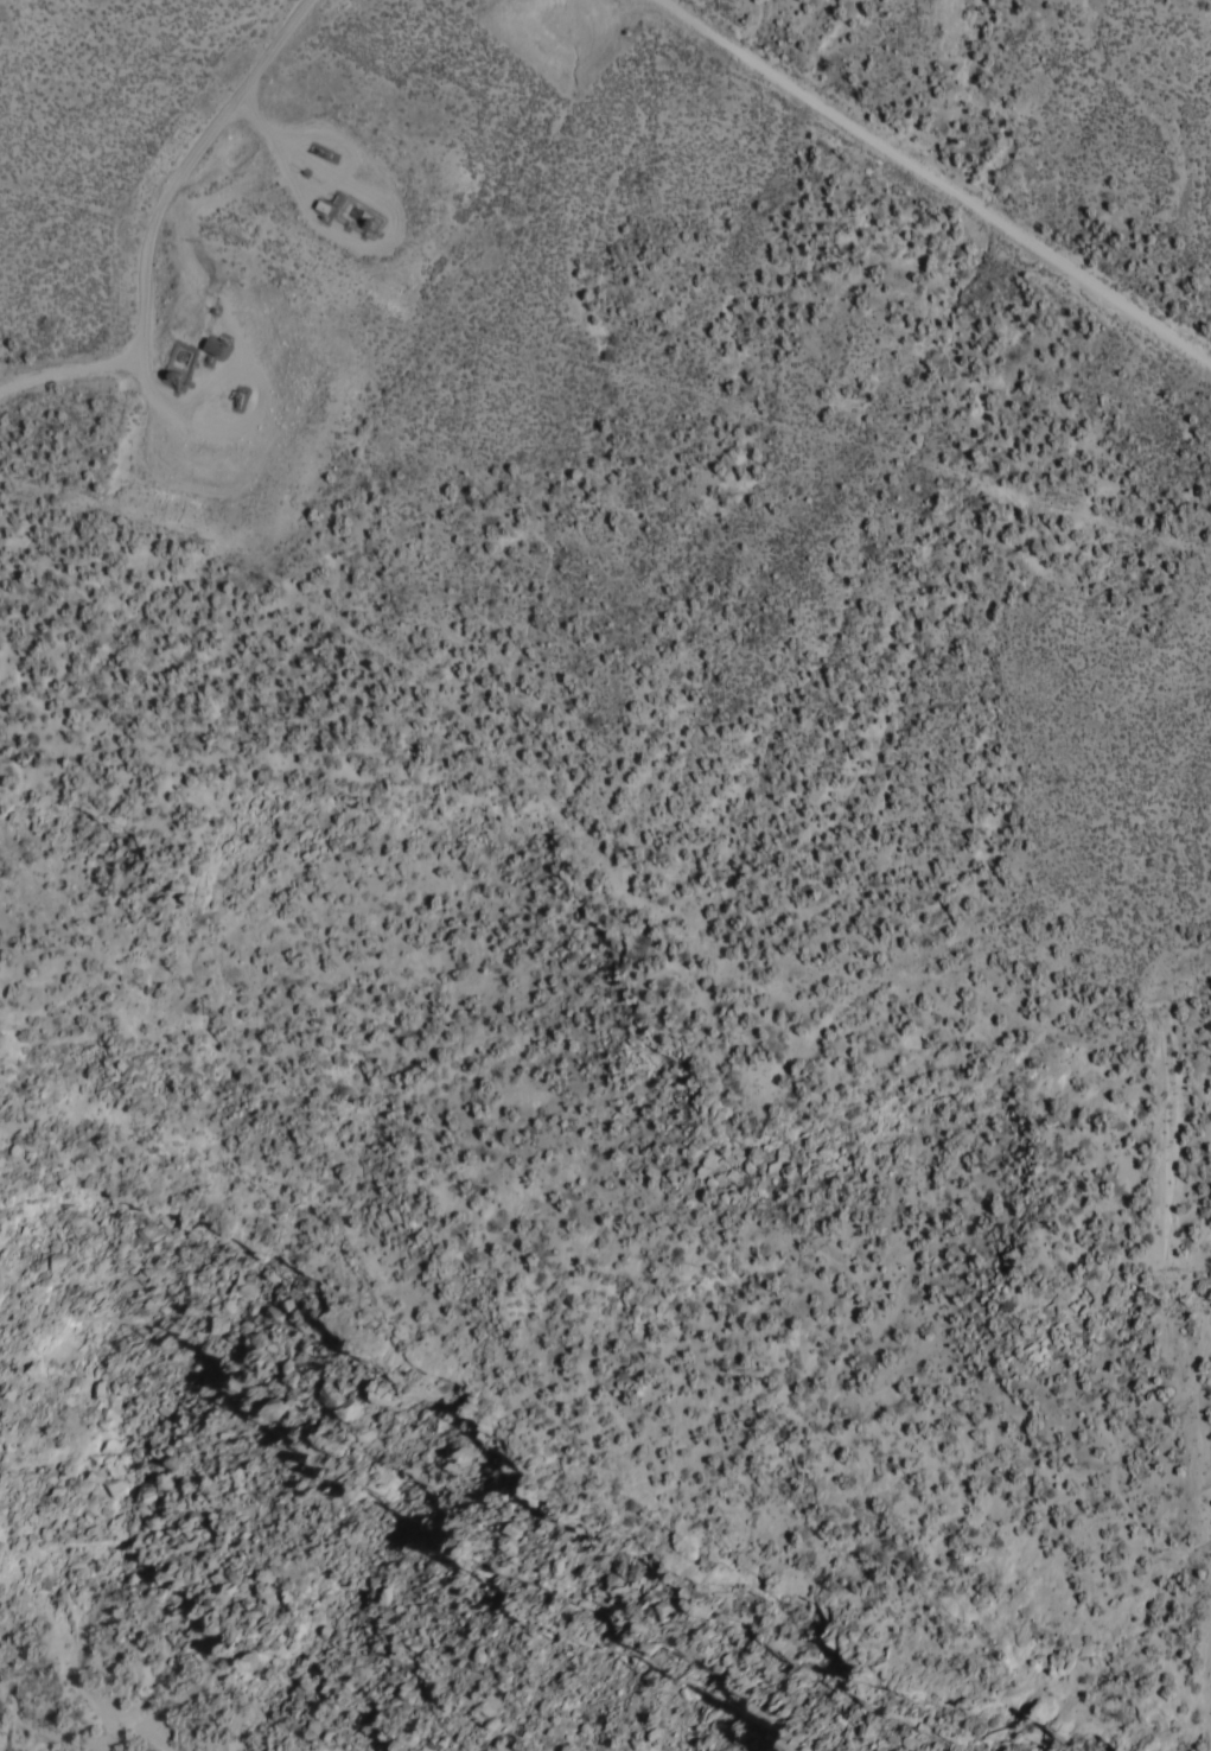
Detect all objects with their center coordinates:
road: (272, 107)
road: (903, 211)
building: (221, 348)

